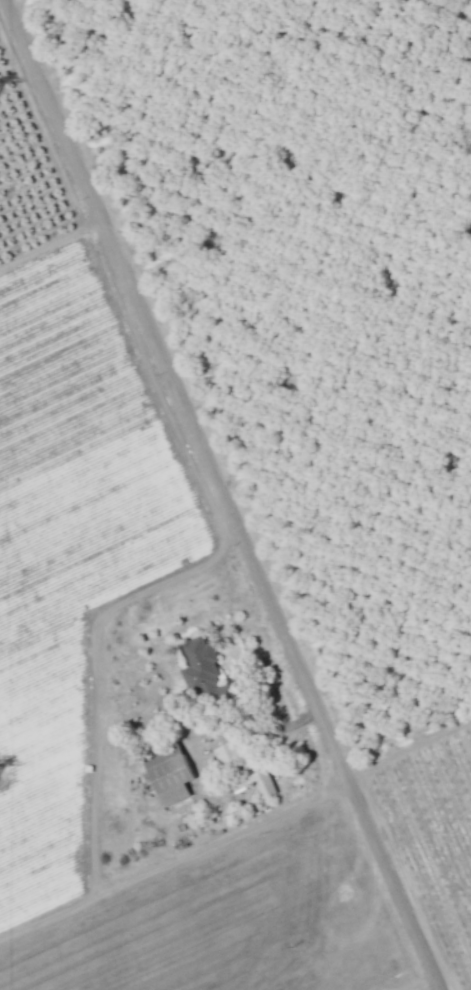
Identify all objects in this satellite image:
road: (219, 495)
building: (200, 667)
road: (94, 669)
building: (223, 752)
building: (167, 774)
building: (261, 782)
road: (173, 861)

